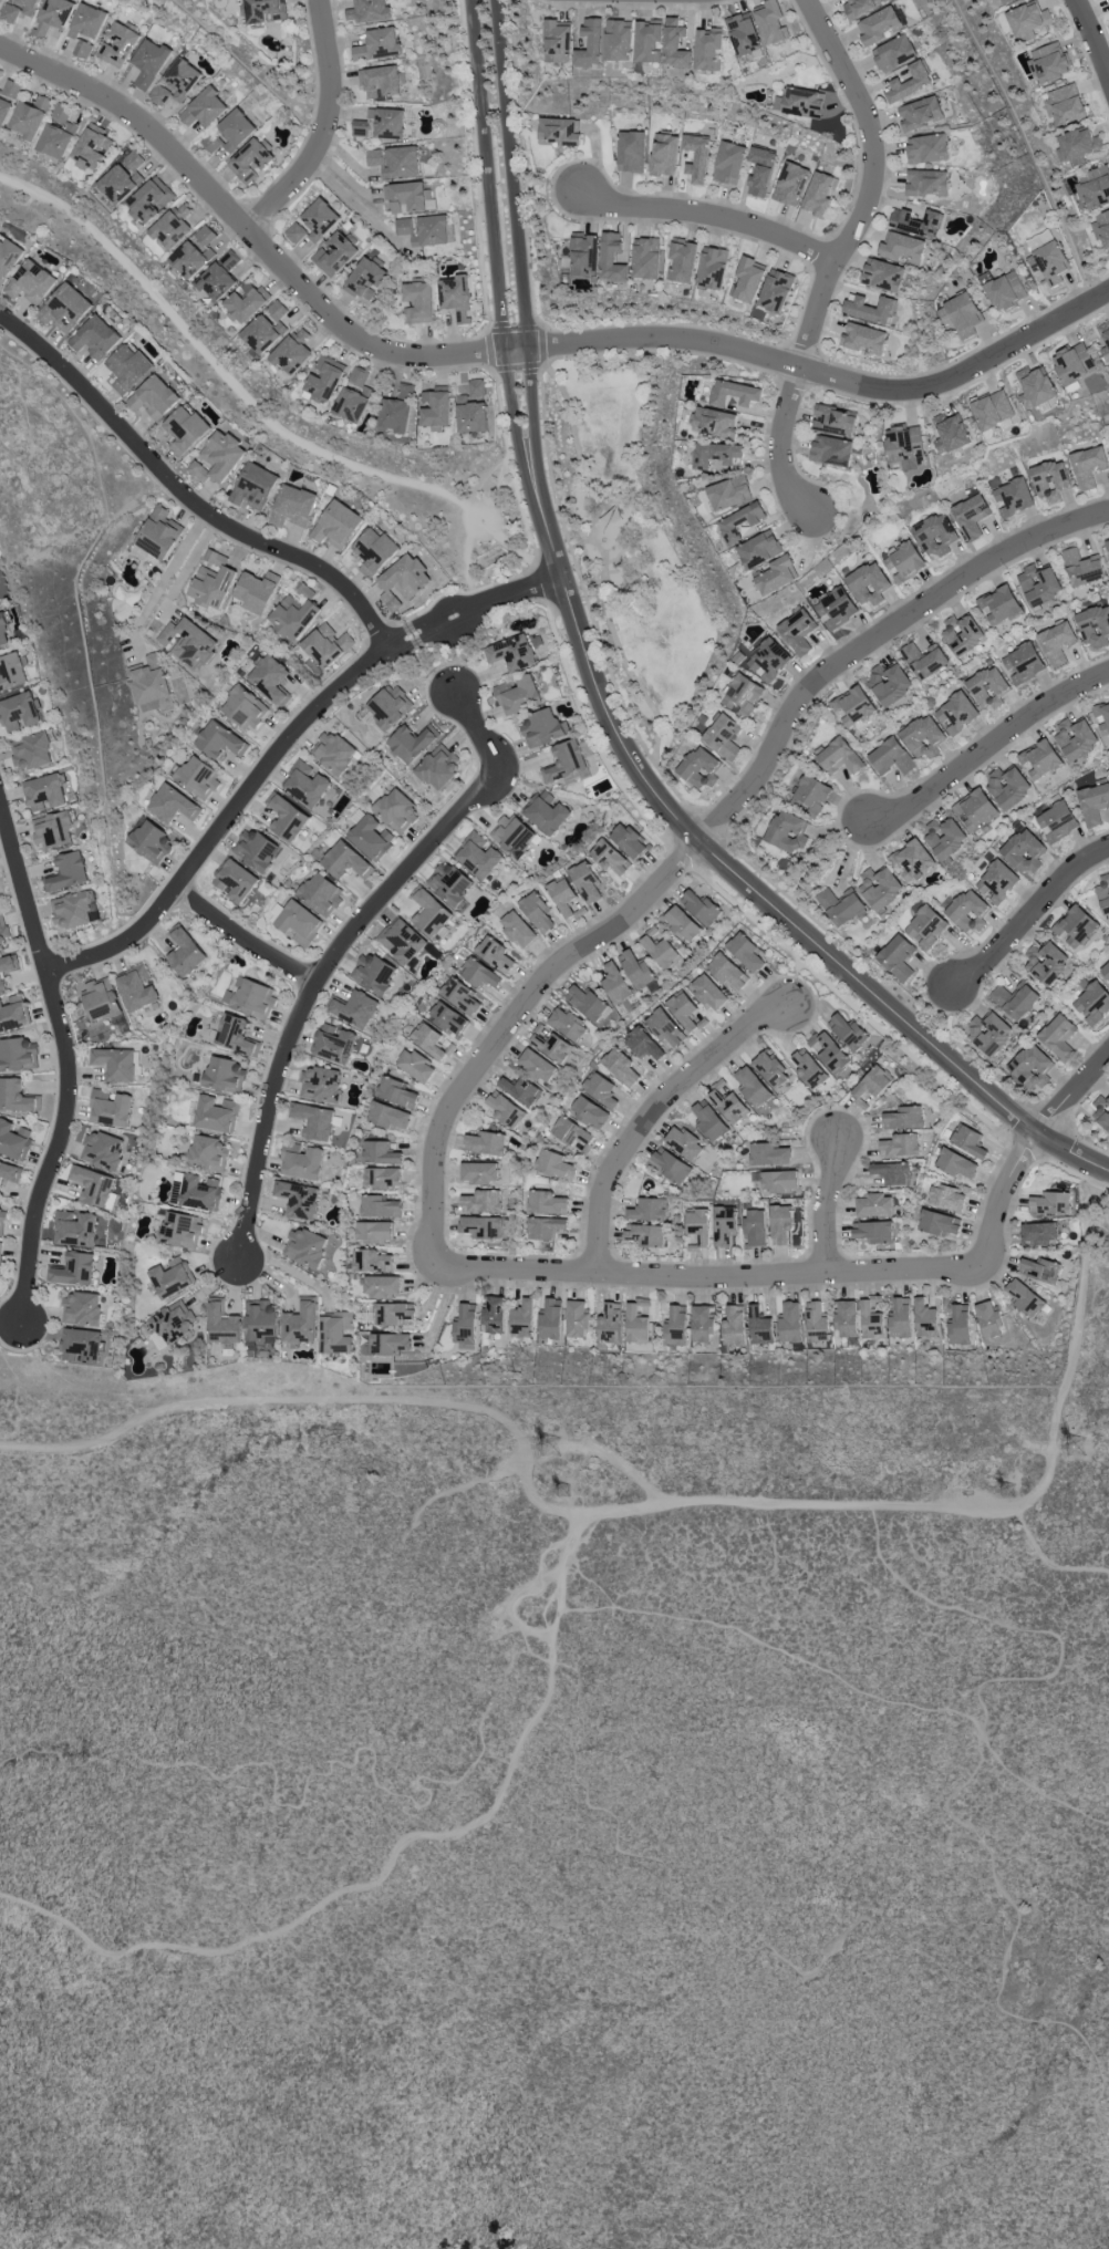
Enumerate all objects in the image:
building: (0, 1)
building: (1006, 1)
road: (636, 6)
building: (18, 9)
building: (263, 11)
building: (366, 11)
building: (52, 17)
building: (1028, 21)
road: (1098, 21)
building: (86, 22)
building: (771, 22)
building: (879, 25)
building: (743, 35)
building: (619, 40)
road: (1091, 40)
building: (557, 42)
building: (591, 43)
building: (647, 43)
building: (377, 44)
building: (676, 44)
building: (117, 45)
building: (708, 49)
building: (82, 50)
building: (894, 53)
road: (1085, 59)
building: (1050, 62)
building: (149, 63)
building: (381, 82)
building: (909, 82)
building: (175, 83)
road: (134, 101)
building: (7, 102)
building: (799, 103)
building: (1065, 105)
building: (204, 108)
road: (312, 112)
building: (920, 113)
building: (30, 117)
building: (380, 124)
road: (330, 128)
building: (229, 132)
building: (558, 132)
building: (59, 133)
road: (333, 145)
building: (1077, 145)
building: (92, 148)
building: (927, 149)
building: (630, 152)
building: (663, 155)
building: (695, 158)
building: (250, 160)
road: (348, 162)
building: (394, 162)
road: (521, 162)
road: (475, 163)
building: (728, 163)
building: (759, 170)
building: (123, 178)
road: (346, 180)
building: (926, 183)
building: (790, 184)
building: (1095, 186)
building: (818, 194)
building: (408, 197)
building: (151, 200)
road: (360, 210)
building: (319, 219)
road: (708, 220)
building: (915, 221)
building: (173, 227)
building: (1101, 227)
road: (701, 228)
building: (424, 230)
road: (801, 230)
road: (252, 234)
building: (294, 234)
building: (205, 236)
road: (512, 238)
road: (491, 239)
road: (239, 243)
building: (903, 248)
building: (334, 255)
road: (838, 255)
building: (583, 256)
building: (611, 257)
building: (8, 258)
building: (191, 259)
building: (645, 259)
building: (681, 261)
building: (1048, 263)
building: (712, 268)
building: (882, 276)
building: (219, 277)
building: (365, 279)
building: (748, 279)
building: (30, 282)
building: (775, 291)
building: (1005, 291)
building: (456, 298)
building: (246, 301)
building: (417, 302)
building: (64, 308)
building: (869, 308)
building: (961, 315)
road: (666, 323)
road: (823, 323)
road: (361, 324)
building: (266, 328)
road: (512, 328)
building: (95, 338)
building: (862, 339)
road: (541, 345)
road: (490, 348)
road: (799, 351)
building: (292, 352)
building: (1074, 363)
road: (519, 366)
building: (127, 369)
road: (222, 373)
road: (826, 376)
building: (325, 377)
building: (357, 377)
road: (792, 384)
building: (1036, 390)
building: (735, 393)
building: (153, 397)
building: (351, 405)
building: (436, 407)
building: (473, 408)
building: (397, 411)
building: (993, 411)
building: (715, 422)
building: (833, 422)
building: (185, 429)
building: (952, 435)
building: (904, 446)
road: (508, 448)
building: (831, 450)
road: (576, 452)
building: (718, 456)
building: (217, 458)
building: (1087, 466)
building: (1049, 479)
building: (253, 487)
building: (728, 494)
road: (168, 496)
building: (1012, 497)
road: (190, 499)
building: (292, 507)
road: (519, 507)
road: (837, 507)
building: (971, 516)
building: (740, 522)
building: (336, 525)
building: (158, 533)
building: (935, 535)
park: (623, 539)
road: (504, 543)
building: (1107, 547)
building: (758, 549)
building: (374, 551)
road: (467, 553)
building: (903, 562)
road: (188, 567)
building: (1081, 568)
road: (165, 576)
building: (776, 576)
road: (506, 579)
building: (209, 580)
building: (403, 581)
road: (541, 583)
building: (868, 583)
building: (1038, 584)
building: (257, 591)
road: (429, 604)
building: (998, 605)
road: (487, 609)
building: (836, 609)
building: (294, 613)
road: (383, 619)
road: (371, 620)
road: (872, 622)
building: (1095, 626)
road: (375, 630)
building: (4, 631)
building: (797, 632)
building: (962, 634)
road: (872, 641)
building: (188, 642)
building: (1055, 643)
building: (325, 645)
road: (618, 650)
building: (511, 653)
building: (768, 660)
building: (924, 660)
building: (1023, 663)
road: (427, 671)
building: (12, 672)
building: (271, 680)
building: (148, 681)
building: (889, 683)
building: (988, 687)
building: (517, 695)
building: (743, 695)
building: (388, 706)
building: (852, 706)
building: (245, 708)
building: (20, 712)
building: (956, 714)
building: (1101, 718)
building: (541, 728)
building: (724, 737)
building: (923, 737)
building: (1075, 738)
building: (219, 740)
building: (412, 743)
road: (642, 745)
building: (31, 752)
road: (989, 752)
building: (333, 753)
building: (838, 756)
building: (891, 757)
building: (1039, 759)
building: (564, 761)
building: (437, 767)
building: (699, 768)
building: (197, 778)
building: (305, 784)
building: (1007, 787)
building: (43, 792)
building: (812, 795)
road: (944, 795)
building: (1094, 804)
building: (173, 805)
road: (220, 805)
building: (396, 810)
building: (974, 810)
building: (547, 812)
road: (234, 815)
building: (286, 817)
building: (1057, 821)
building: (52, 830)
building: (788, 832)
building: (371, 837)
building: (511, 837)
building: (944, 837)
building: (629, 841)
building: (151, 842)
building: (256, 849)
building: (1023, 851)
building: (478, 856)
building: (610, 858)
building: (345, 861)
building: (911, 861)
building: (68, 872)
building: (235, 881)
road: (745, 882)
building: (996, 882)
building: (448, 883)
building: (587, 883)
building: (880, 888)
building: (1103, 893)
building: (321, 894)
building: (564, 899)
building: (840, 905)
road: (13, 908)
building: (701, 908)
building: (73, 909)
building: (967, 911)
building: (538, 912)
building: (429, 913)
road: (1030, 919)
building: (298, 923)
building: (681, 924)
building: (925, 927)
building: (1076, 927)
building: (518, 930)
building: (3, 932)
road: (770, 935)
road: (246, 939)
building: (402, 941)
road: (1022, 942)
building: (659, 949)
road: (342, 951)
building: (745, 952)
building: (185, 953)
road: (45, 954)
building: (495, 954)
building: (896, 957)
building: (1046, 963)
building: (7, 968)
building: (636, 970)
building: (727, 972)
building: (1106, 972)
building: (373, 974)
building: (480, 974)
building: (615, 984)
building: (135, 988)
building: (708, 993)
building: (460, 996)
building: (101, 998)
building: (251, 999)
building: (1015, 999)
building: (588, 1003)
building: (1092, 1003)
building: (354, 1009)
building: (12, 1013)
building: (686, 1013)
road: (933, 1013)
building: (448, 1019)
road: (515, 1024)
building: (568, 1025)
building: (665, 1027)
building: (848, 1032)
building: (988, 1034)
building: (236, 1036)
building: (1058, 1037)
building: (431, 1041)
building: (333, 1043)
building: (643, 1044)
building: (551, 1045)
building: (828, 1053)
building: (17, 1056)
building: (115, 1064)
road: (71, 1065)
building: (416, 1066)
building: (538, 1066)
building: (621, 1067)
building: (1032, 1068)
building: (770, 1069)
building: (808, 1070)
building: (224, 1075)
road: (1001, 1082)
building: (872, 1084)
building: (320, 1085)
building: (752, 1086)
building: (520, 1090)
building: (601, 1090)
road: (693, 1090)
building: (396, 1092)
building: (17, 1097)
road: (1075, 1101)
building: (727, 1102)
road: (1080, 1103)
building: (111, 1108)
building: (504, 1110)
building: (590, 1112)
building: (1101, 1112)
building: (216, 1113)
building: (388, 1117)
road: (651, 1117)
building: (903, 1118)
building: (313, 1121)
building: (711, 1122)
building: (574, 1134)
building: (13, 1140)
building: (968, 1141)
building: (486, 1143)
building: (683, 1143)
building: (900, 1146)
building: (102, 1149)
building: (207, 1153)
building: (381, 1153)
building: (768, 1154)
building: (301, 1161)
building: (556, 1164)
building: (956, 1164)
building: (672, 1167)
building: (9, 1172)
building: (479, 1172)
building: (892, 1172)
road: (1089, 1174)
building: (382, 1178)
building: (779, 1181)
road: (1099, 1184)
building: (93, 1185)
building: (195, 1191)
building: (945, 1198)
building: (298, 1199)
building: (481, 1202)
building: (546, 1203)
road: (831, 1203)
building: (1050, 1203)
building: (874, 1205)
building: (380, 1206)
building: (647, 1210)
building: (2, 1222)
building: (937, 1223)
building: (780, 1224)
building: (724, 1225)
building: (755, 1226)
building: (480, 1227)
building: (545, 1227)
building: (697, 1227)
building: (74, 1229)
building: (179, 1230)
building: (374, 1232)
building: (873, 1232)
building: (1039, 1233)
building: (645, 1235)
building: (304, 1247)
building: (0, 1252)
building: (371, 1261)
building: (73, 1269)
building: (1039, 1269)
road: (780, 1275)
building: (172, 1277)
building: (381, 1286)
building: (1024, 1298)
building: (81, 1308)
building: (393, 1313)
building: (494, 1315)
building: (900, 1318)
building: (521, 1319)
building: (549, 1319)
building: (576, 1319)
building: (846, 1319)
building: (924, 1319)
building: (988, 1319)
building: (870, 1320)
building: (635, 1322)
building: (260, 1323)
building: (788, 1323)
building: (815, 1323)
building: (170, 1324)
building: (221, 1324)
building: (299, 1324)
building: (609, 1324)
building: (702, 1324)
building: (465, 1325)
building: (674, 1325)
building: (958, 1325)
building: (733, 1326)
building: (758, 1326)
building: (334, 1331)
building: (81, 1346)
road: (304, 1400)
power tower: (1072, 1448)
power tower: (551, 1450)
road: (603, 1452)
power tower: (563, 1494)
power tower: (1008, 1495)
road: (957, 1510)
road: (1047, 1559)
road: (810, 1665)
road: (962, 1784)
road: (356, 1887)

